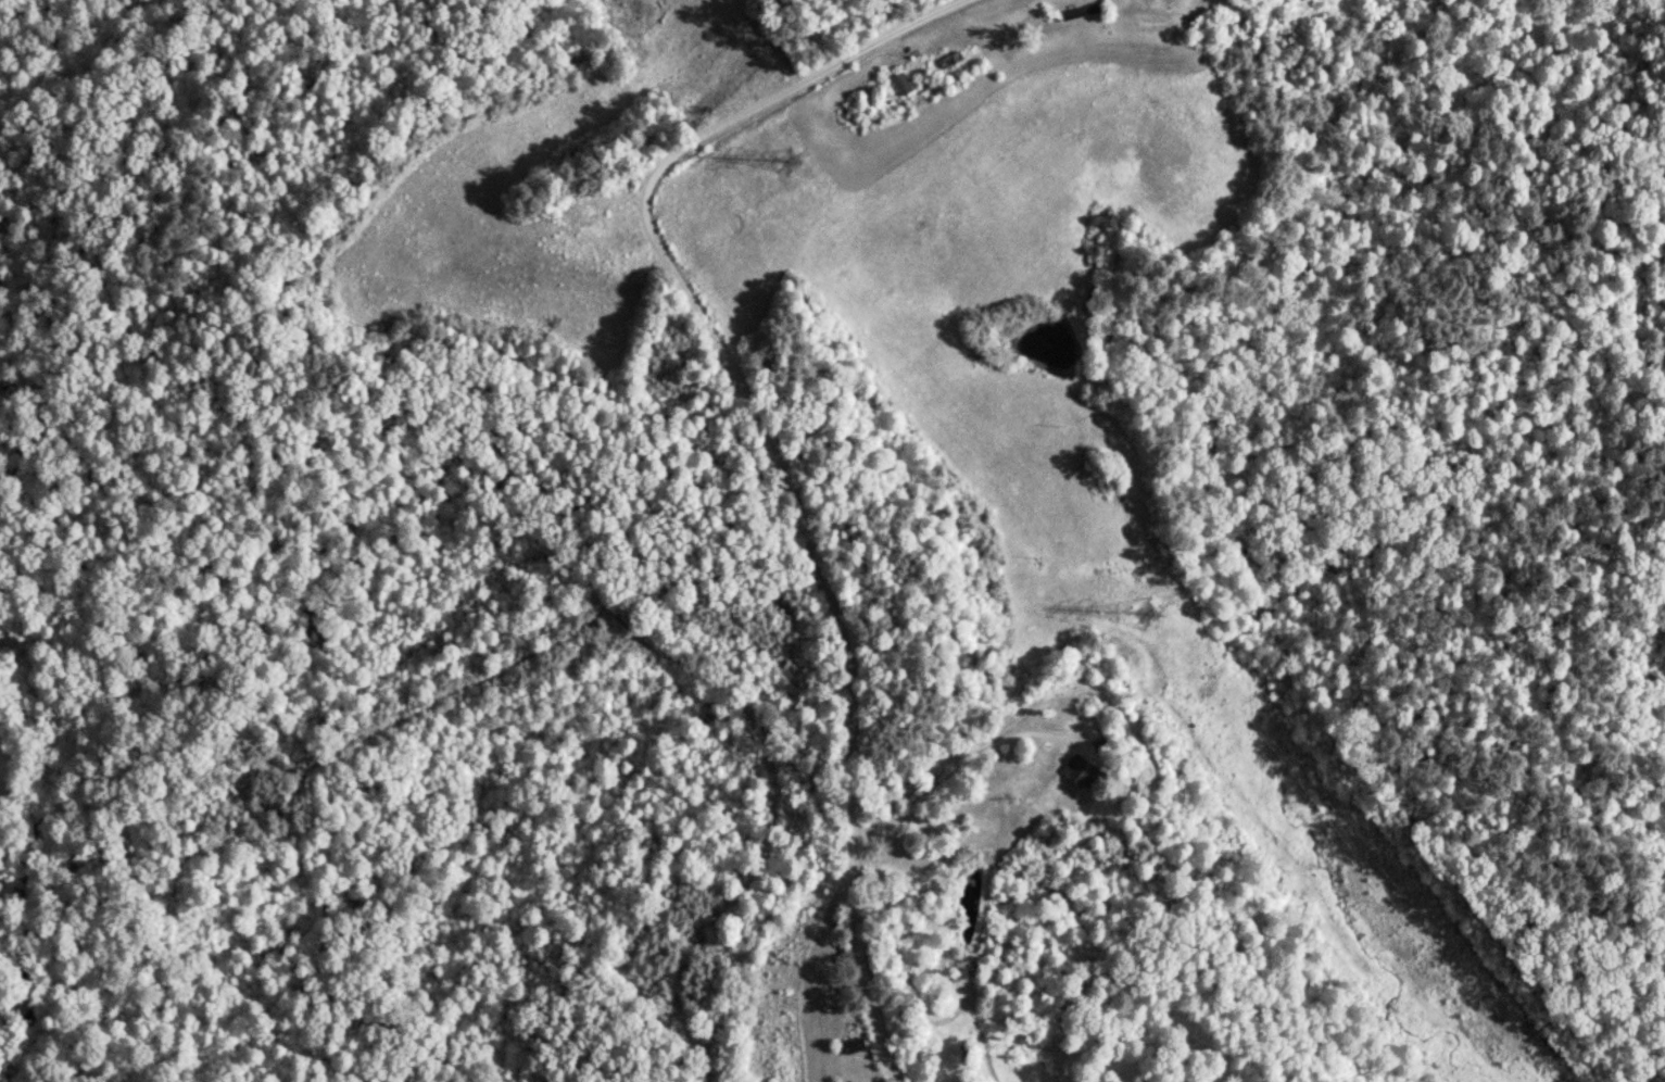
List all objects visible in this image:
building: (950, 55)
building: (904, 86)
road: (749, 432)
building: (1083, 773)

